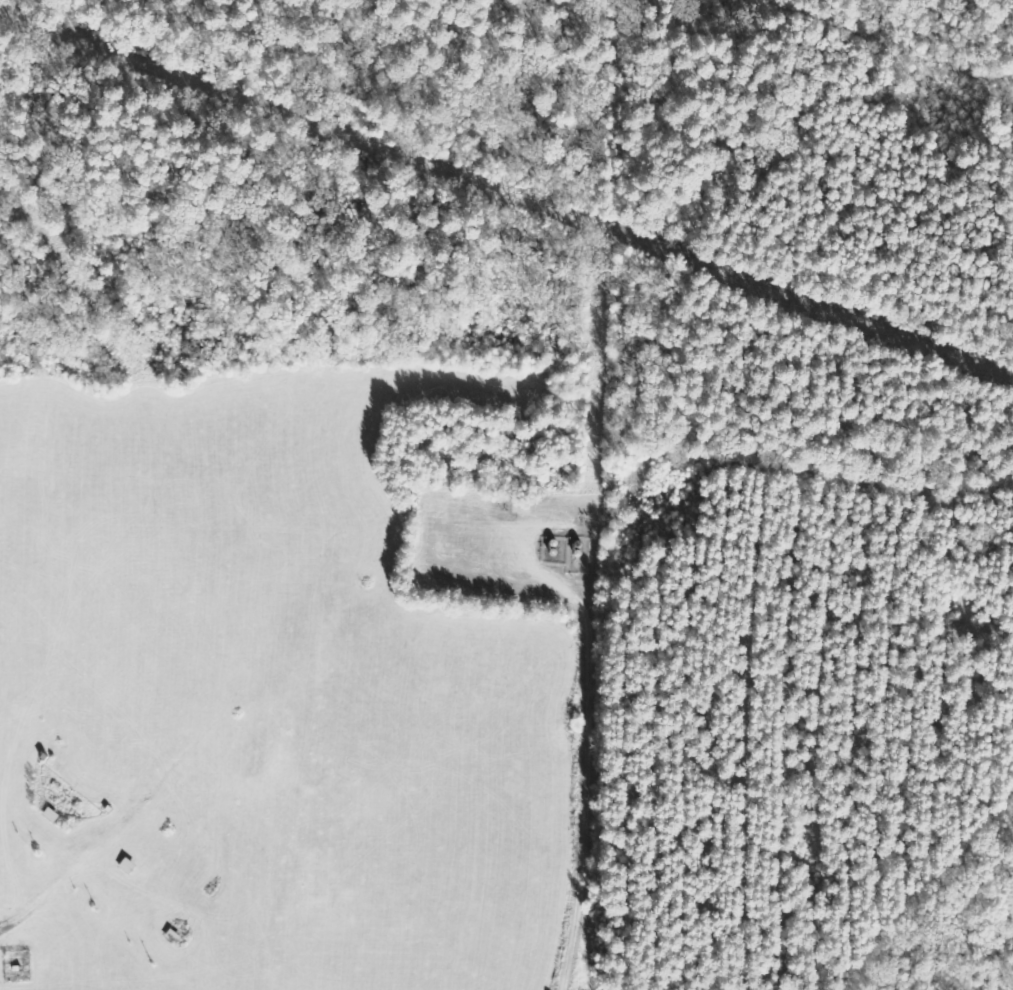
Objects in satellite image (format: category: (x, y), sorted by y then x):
road: (590, 775)
building: (49, 815)

